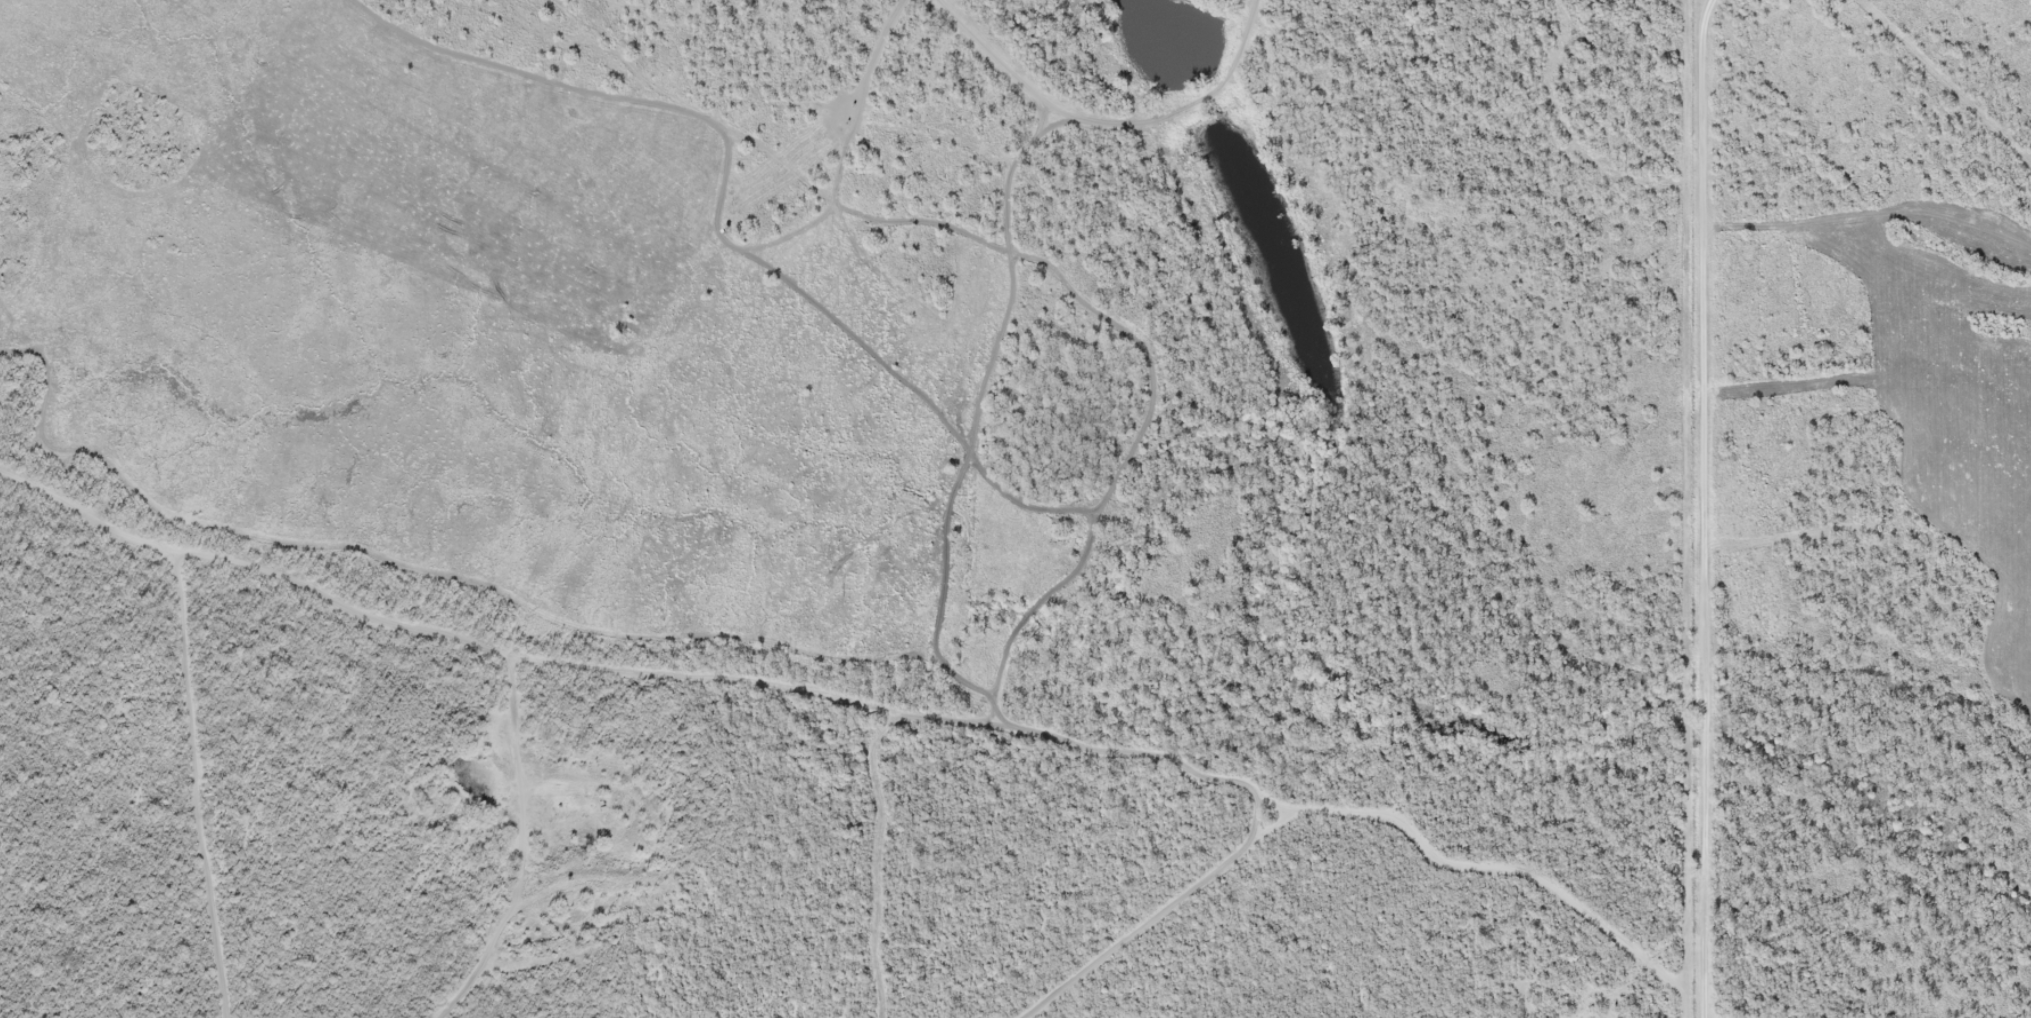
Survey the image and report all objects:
road: (1704, 508)

